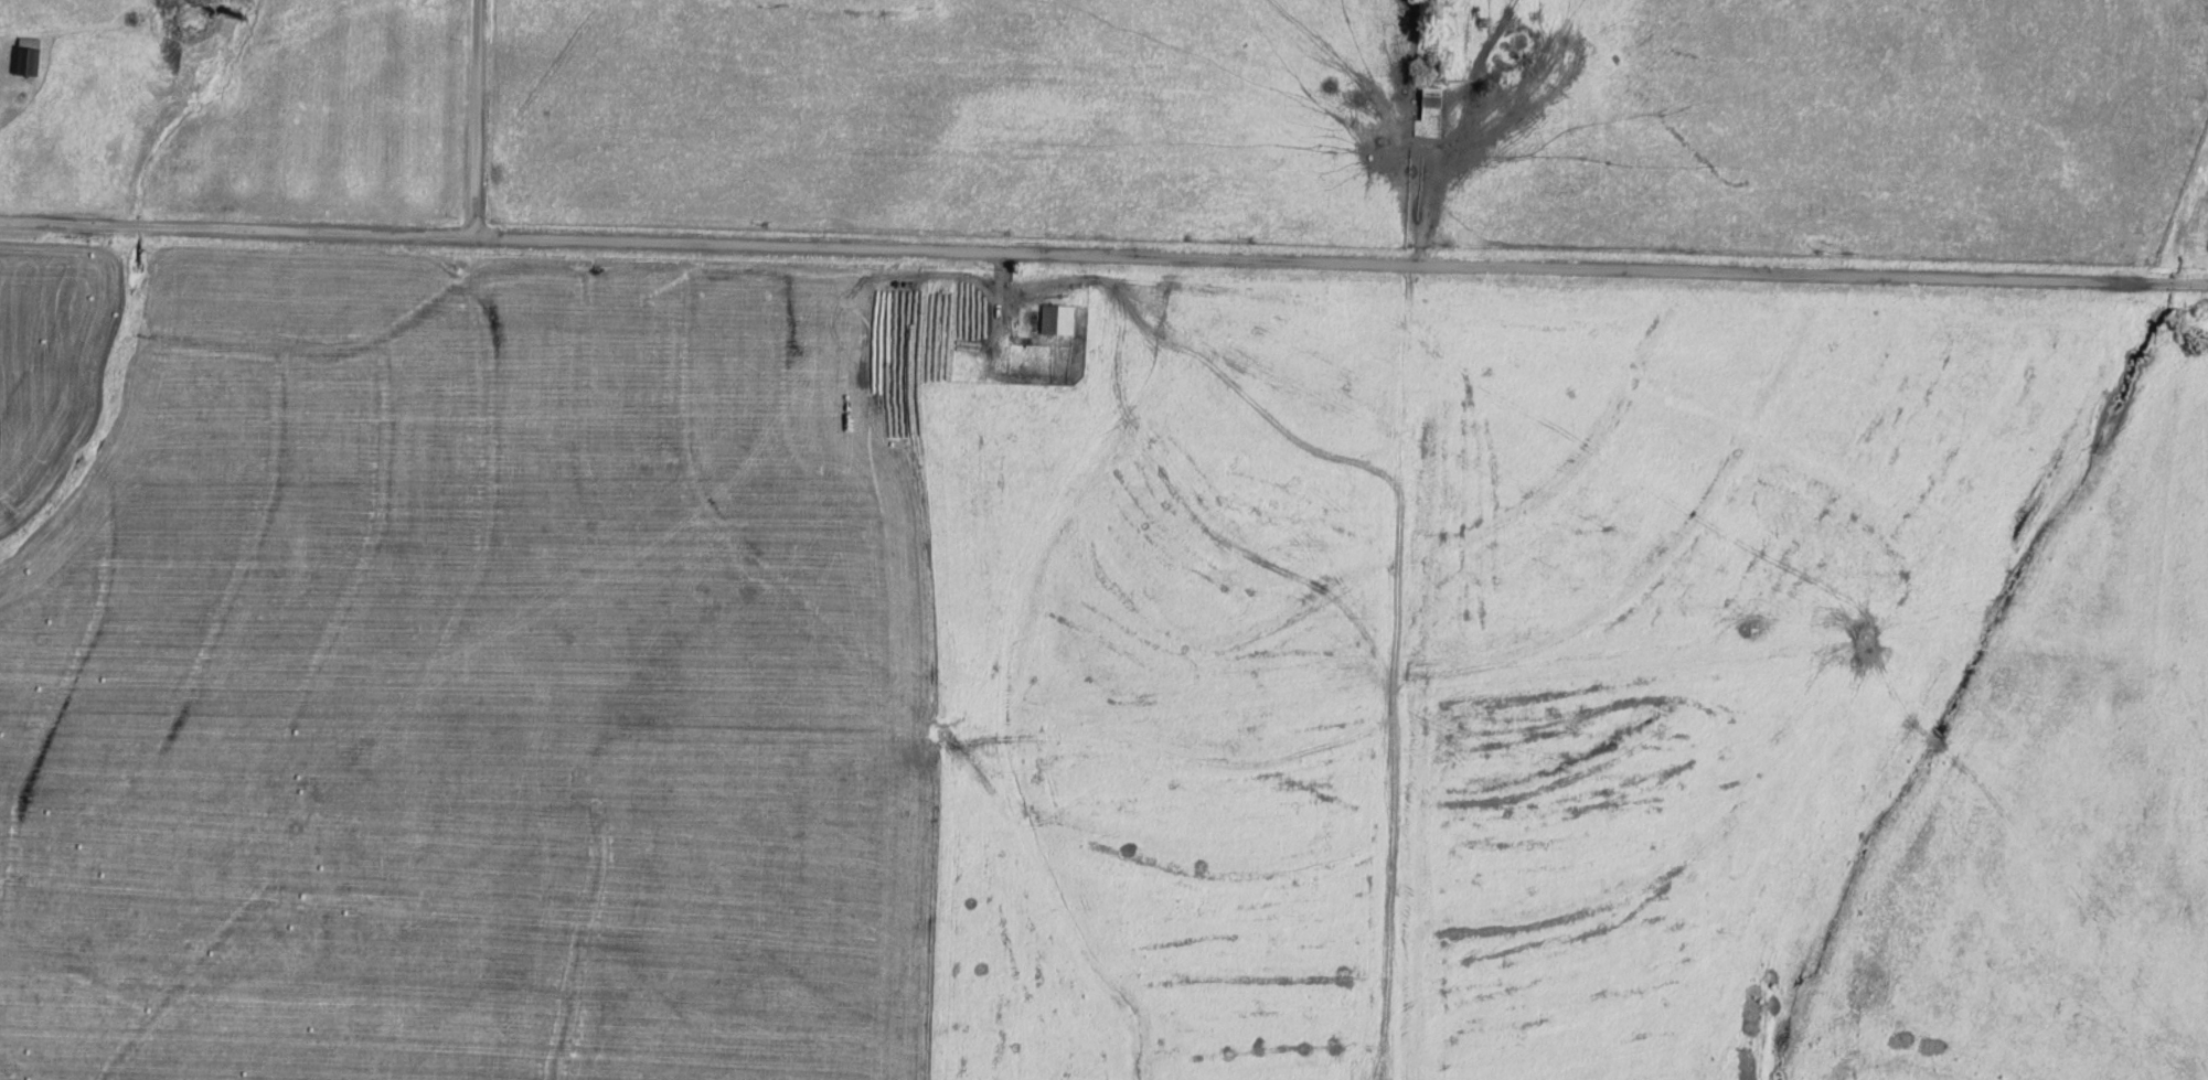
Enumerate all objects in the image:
building: (29, 56)
building: (1431, 97)
road: (442, 126)
crop: (2189, 226)
road: (1103, 270)
building: (1057, 320)
crop: (1089, 676)

